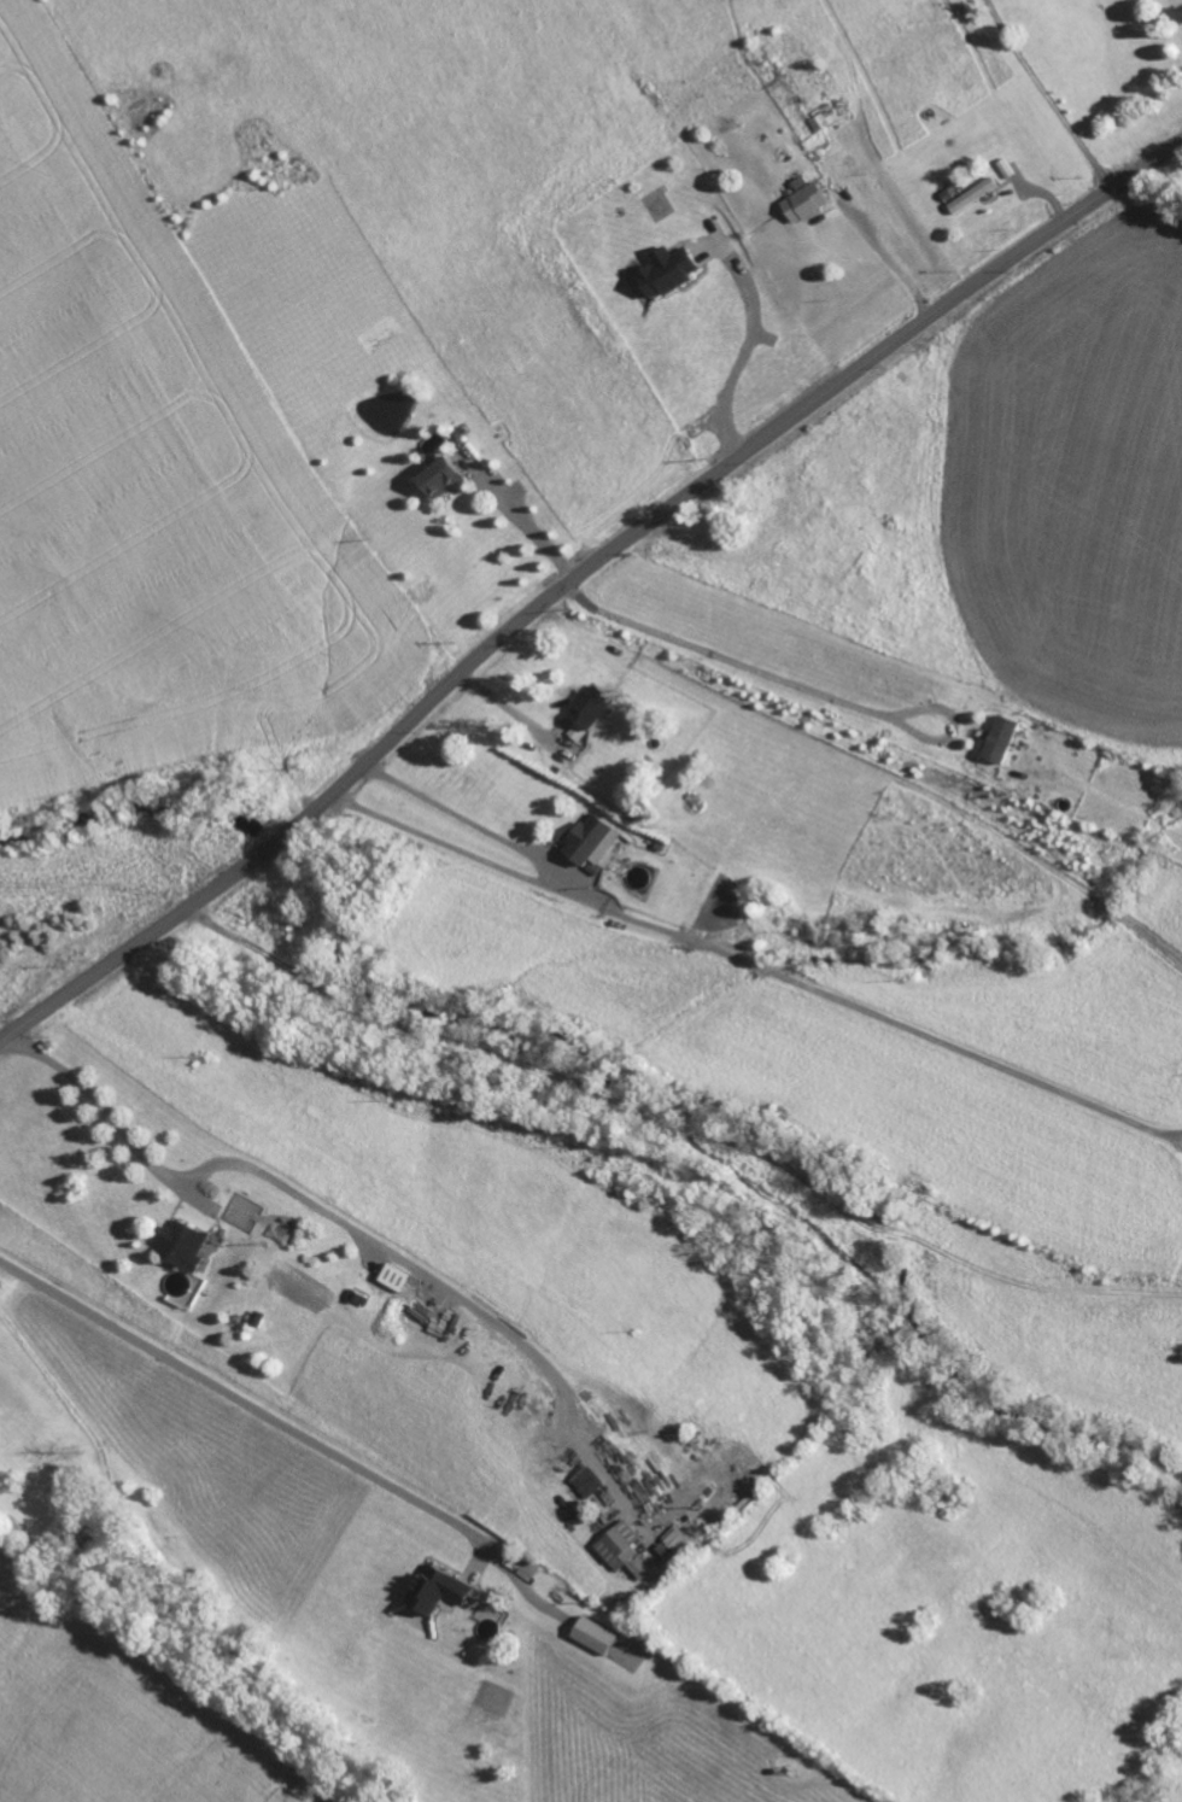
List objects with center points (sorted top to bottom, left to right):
road: (1048, 96)
building: (972, 194)
building: (804, 199)
road: (895, 267)
building: (666, 269)
road: (750, 352)
building: (439, 478)
road: (532, 531)
road: (577, 579)
road: (794, 684)
building: (589, 706)
road: (511, 712)
building: (1000, 738)
road: (468, 819)
building: (590, 839)
road: (757, 966)
road: (352, 1229)
building: (181, 1245)
road: (253, 1406)
building: (618, 1545)
building: (435, 1590)
building: (593, 1636)

